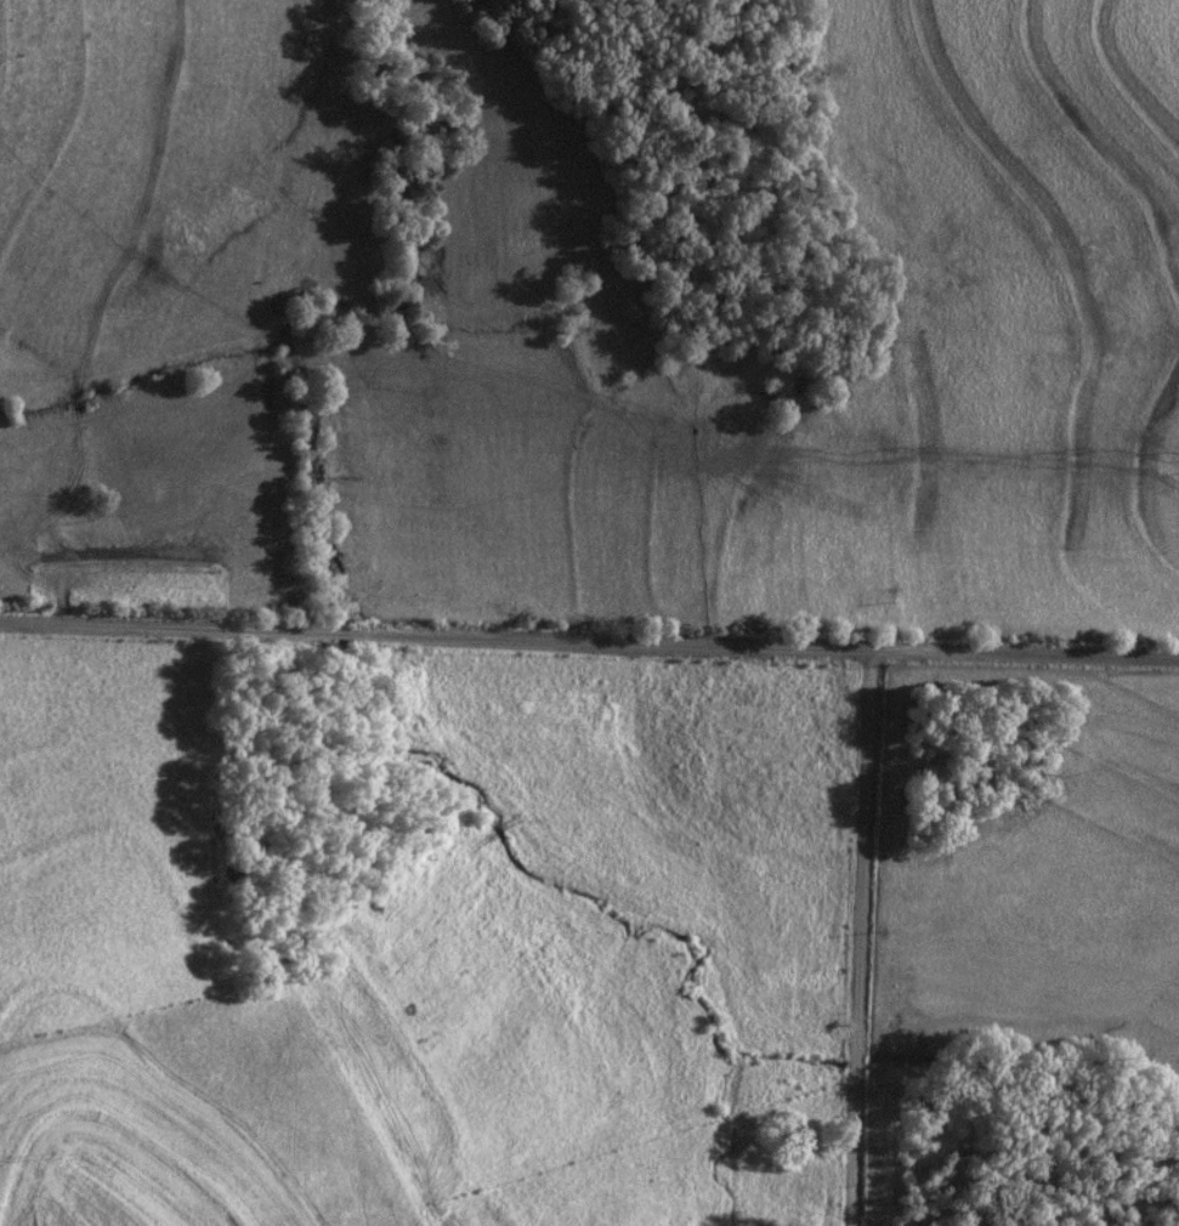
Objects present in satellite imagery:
road: (589, 641)
road: (861, 936)

